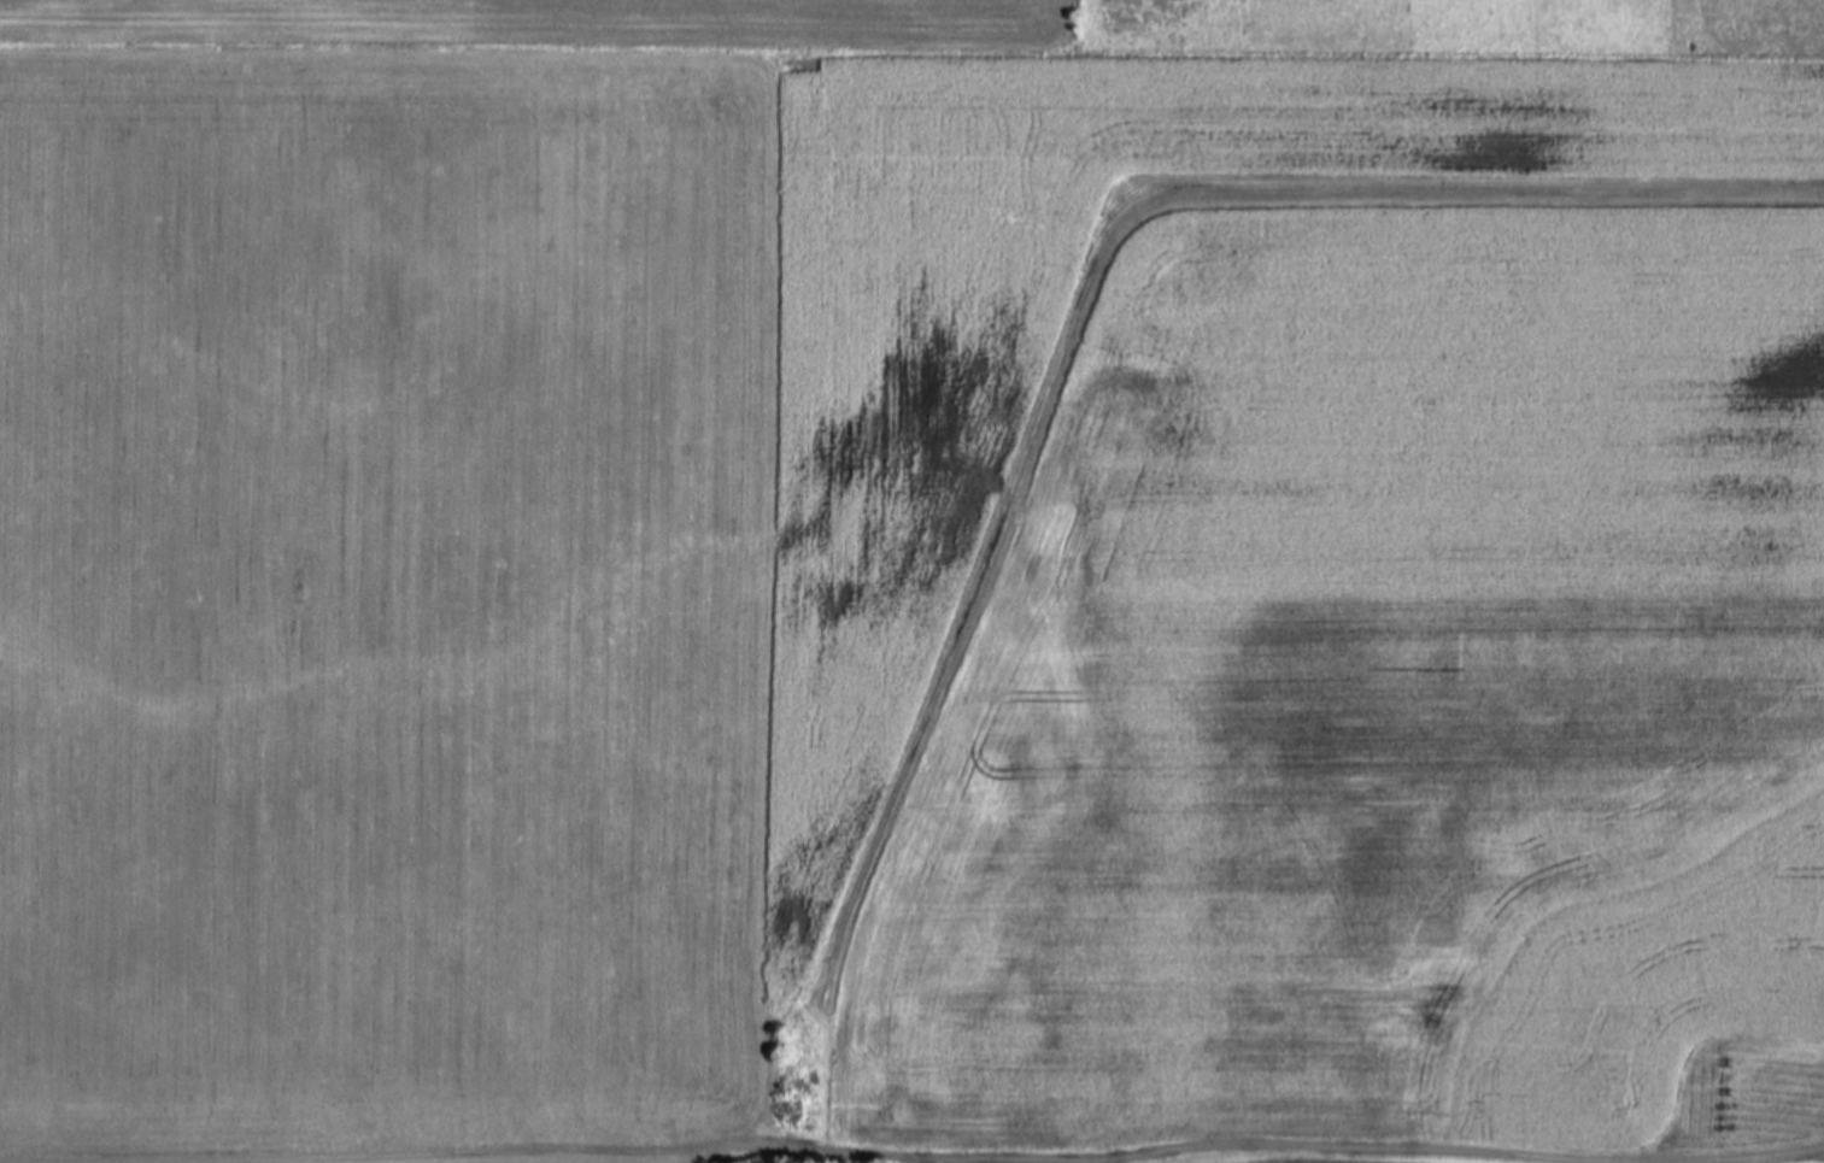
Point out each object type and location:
road: (1356, 1152)
road: (469, 1153)
road: (1764, 1156)

